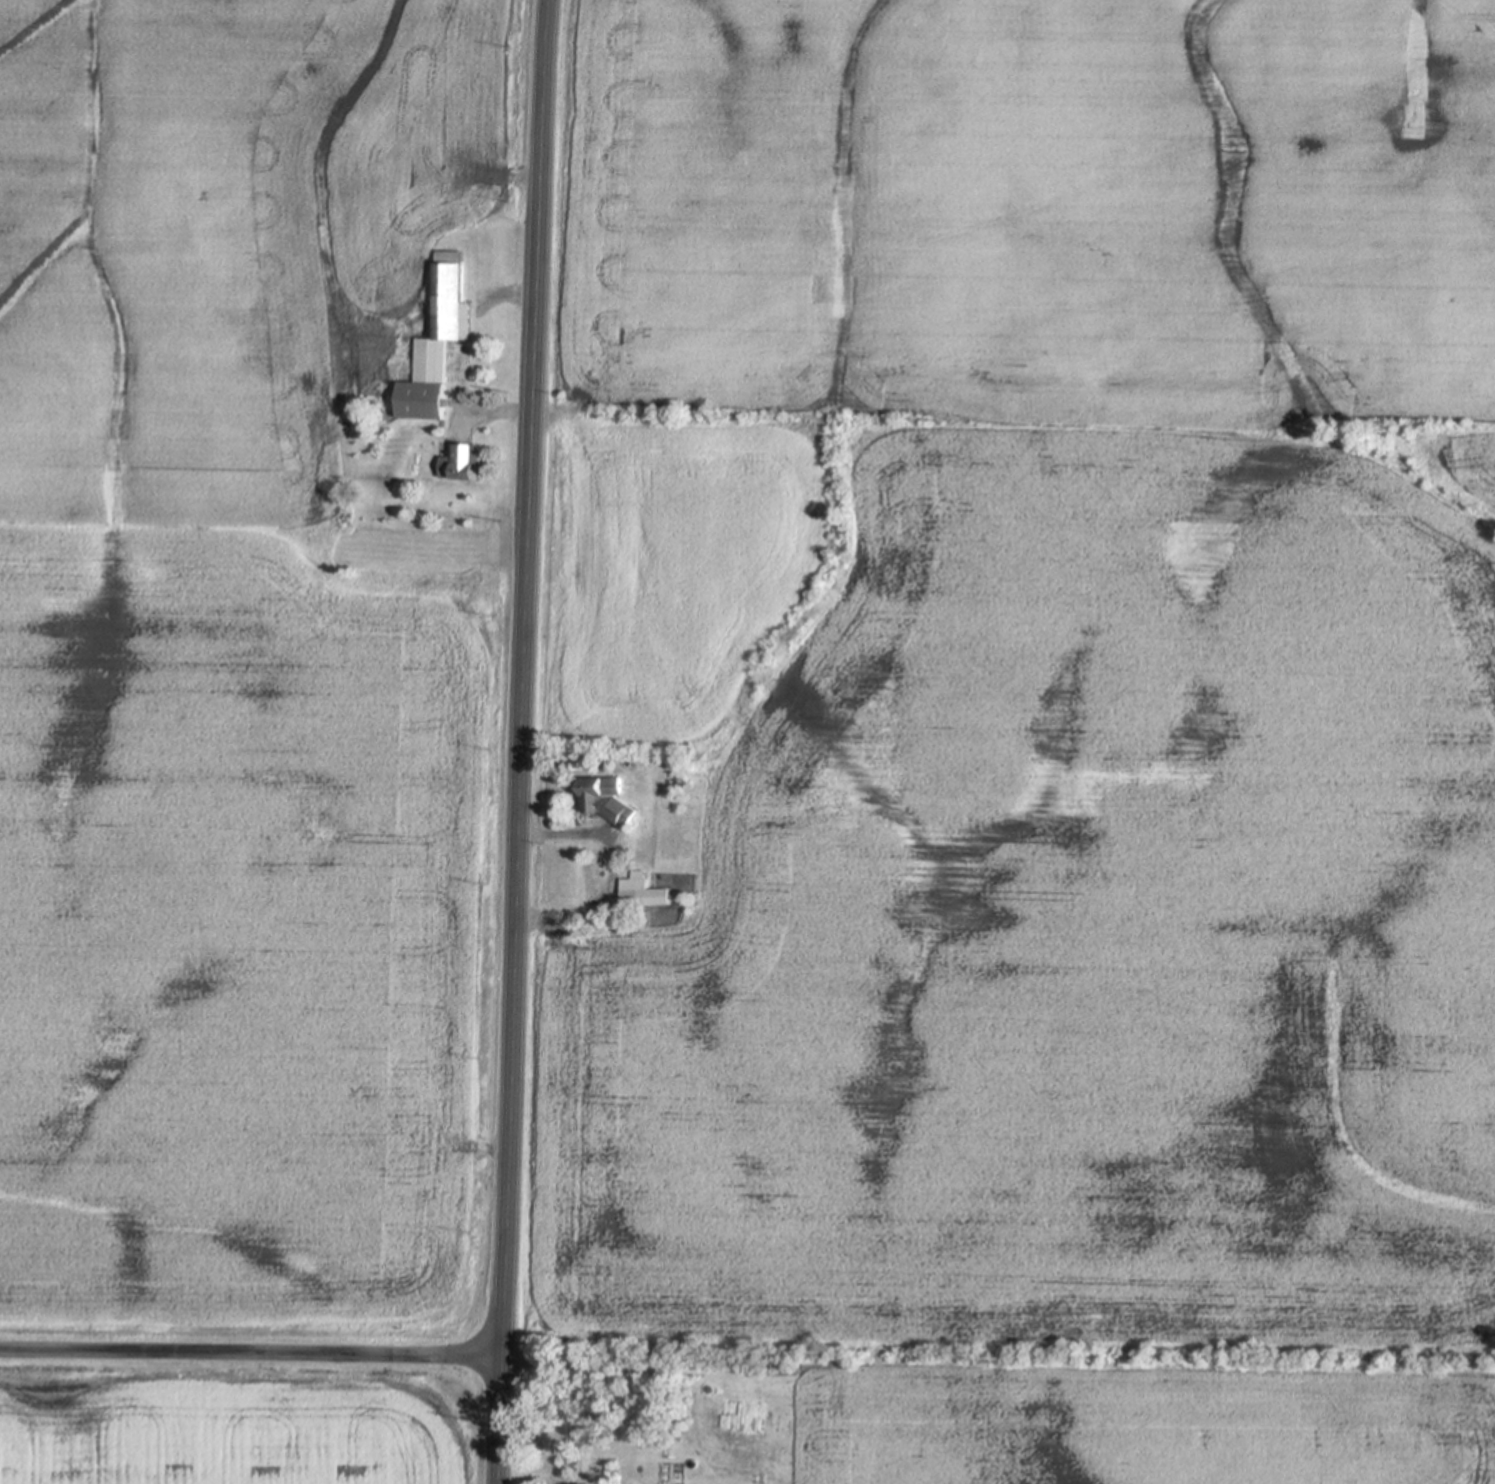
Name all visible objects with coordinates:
building: (419, 270)
building: (383, 274)
building: (440, 341)
building: (465, 462)
road: (520, 741)
building: (681, 781)
building: (610, 800)
road: (615, 869)
building: (645, 892)
road: (249, 1352)

